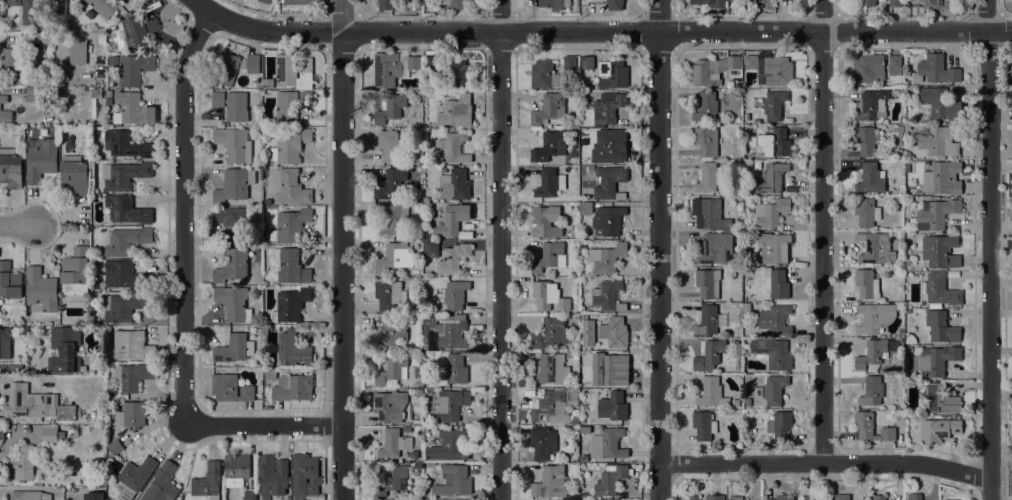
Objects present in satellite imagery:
building: (264, 1)
building: (13, 2)
building: (298, 2)
building: (709, 2)
building: (453, 3)
building: (867, 3)
building: (895, 3)
building: (941, 3)
building: (385, 4)
building: (554, 4)
building: (614, 4)
building: (766, 4)
building: (104, 6)
building: (708, 9)
building: (28, 11)
building: (136, 31)
road: (600, 31)
building: (77, 52)
building: (413, 62)
building: (569, 62)
building: (587, 62)
building: (734, 62)
building: (751, 62)
building: (252, 63)
building: (431, 63)
building: (894, 65)
building: (16, 66)
building: (868, 68)
building: (134, 69)
building: (225, 69)
building: (387, 70)
building: (935, 70)
building: (774, 71)
building: (291, 72)
building: (705, 72)
building: (457, 73)
building: (612, 74)
building: (543, 75)
building: (267, 83)
building: (96, 92)
building: (36, 93)
building: (108, 93)
building: (3, 99)
building: (306, 99)
building: (939, 103)
building: (232, 104)
building: (774, 105)
building: (871, 105)
building: (706, 106)
building: (286, 107)
building: (608, 108)
building: (133, 109)
building: (390, 109)
building: (453, 109)
building: (548, 109)
building: (5, 116)
building: (884, 121)
building: (907, 126)
building: (898, 134)
building: (866, 140)
building: (940, 140)
building: (706, 141)
building: (775, 142)
building: (126, 144)
building: (234, 144)
building: (388, 144)
building: (290, 146)
building: (549, 146)
building: (610, 146)
building: (452, 147)
building: (40, 159)
building: (582, 160)
building: (10, 168)
building: (74, 175)
building: (124, 175)
building: (944, 177)
building: (707, 178)
building: (771, 178)
building: (870, 179)
building: (610, 181)
building: (390, 182)
building: (549, 183)
building: (454, 184)
building: (235, 187)
building: (290, 187)
building: (425, 199)
building: (267, 202)
building: (574, 208)
building: (585, 209)
building: (125, 210)
road: (183, 211)
building: (866, 212)
building: (771, 213)
building: (709, 214)
building: (936, 214)
building: (393, 219)
building: (452, 219)
building: (607, 220)
building: (546, 222)
building: (231, 223)
road: (16, 225)
building: (290, 225)
road: (822, 231)
building: (899, 235)
building: (125, 241)
building: (774, 247)
building: (716, 248)
building: (875, 248)
building: (430, 249)
road: (990, 249)
road: (341, 250)
road: (499, 250)
road: (658, 250)
building: (940, 251)
building: (549, 257)
building: (607, 257)
building: (393, 258)
building: (453, 258)
building: (97, 263)
building: (231, 266)
building: (290, 266)
building: (75, 271)
building: (125, 275)
building: (9, 281)
building: (707, 283)
building: (776, 283)
building: (866, 284)
building: (41, 289)
building: (940, 290)
building: (389, 294)
building: (455, 294)
building: (548, 296)
building: (608, 296)
building: (233, 303)
building: (290, 305)
building: (124, 306)
building: (746, 308)
building: (907, 311)
building: (876, 316)
building: (709, 320)
building: (775, 320)
building: (429, 322)
building: (941, 327)
building: (390, 332)
building: (614, 332)
building: (550, 333)
building: (453, 335)
building: (909, 338)
building: (924, 341)
building: (5, 342)
building: (426, 343)
building: (133, 346)
building: (234, 348)
building: (64, 349)
building: (292, 349)
building: (773, 352)
building: (874, 354)
building: (709, 355)
building: (935, 360)
building: (456, 368)
building: (610, 368)
building: (391, 369)
building: (550, 369)
building: (133, 375)
building: (917, 376)
building: (293, 387)
building: (230, 388)
building: (774, 389)
building: (871, 391)
building: (417, 392)
building: (758, 392)
building: (711, 393)
building: (572, 397)
building: (939, 399)
building: (735, 402)
building: (747, 402)
building: (35, 404)
building: (451, 404)
building: (390, 406)
building: (612, 406)
building: (551, 408)
building: (899, 412)
building: (131, 415)
building: (574, 421)
building: (584, 421)
road: (264, 424)
building: (703, 425)
building: (779, 425)
building: (871, 427)
building: (406, 429)
building: (584, 430)
building: (939, 430)
building: (2, 435)
building: (49, 435)
building: (393, 443)
building: (542, 443)
building: (607, 444)
building: (115, 447)
building: (448, 447)
building: (582, 459)
building: (21, 461)
road: (825, 461)
building: (236, 469)
building: (272, 475)
building: (135, 477)
building: (305, 477)
building: (392, 480)
building: (609, 480)
building: (207, 481)
building: (453, 481)
building: (550, 482)
building: (162, 484)
road: (27, 487)
building: (29, 495)
building: (249, 495)
building: (93, 496)
building: (694, 497)
building: (714, 497)
building: (782, 497)
building: (842, 497)
building: (878, 497)
building: (914, 497)
building: (734, 498)
building: (826, 498)
building: (288, 499)
building: (801, 499)
building: (950, 499)

